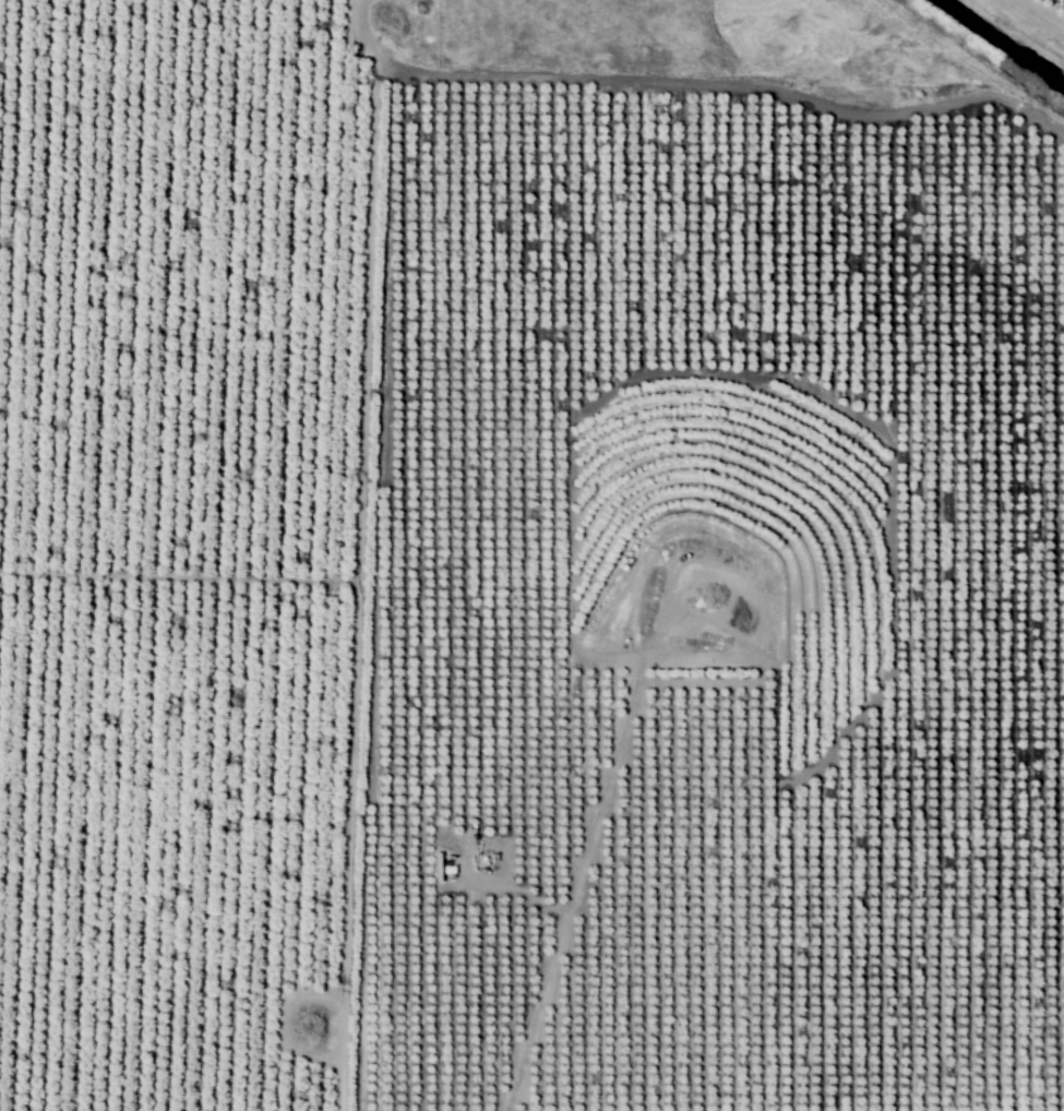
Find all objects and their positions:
crop: (1049, 8)
road: (356, 552)

